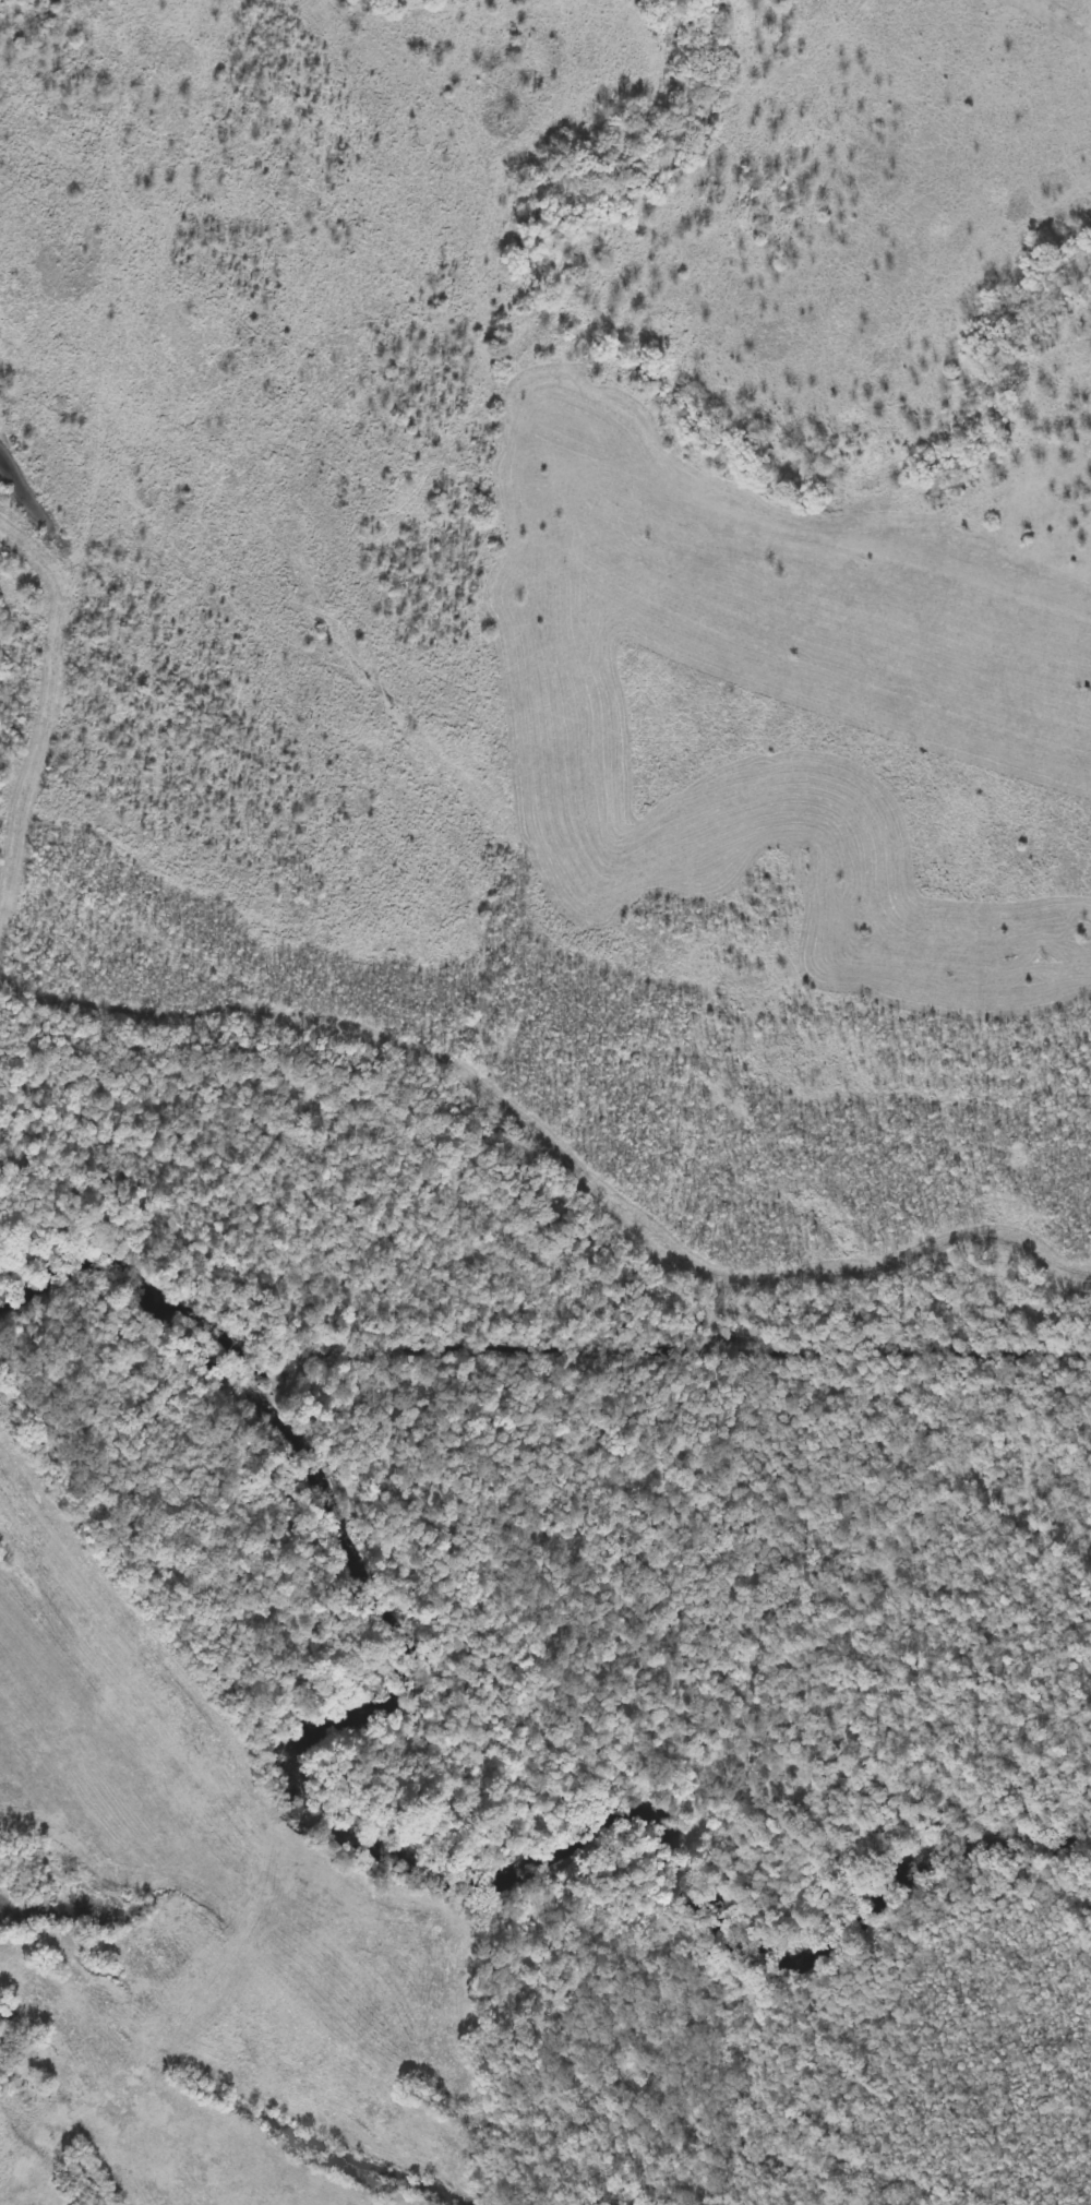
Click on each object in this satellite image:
river: (338, 1835)

